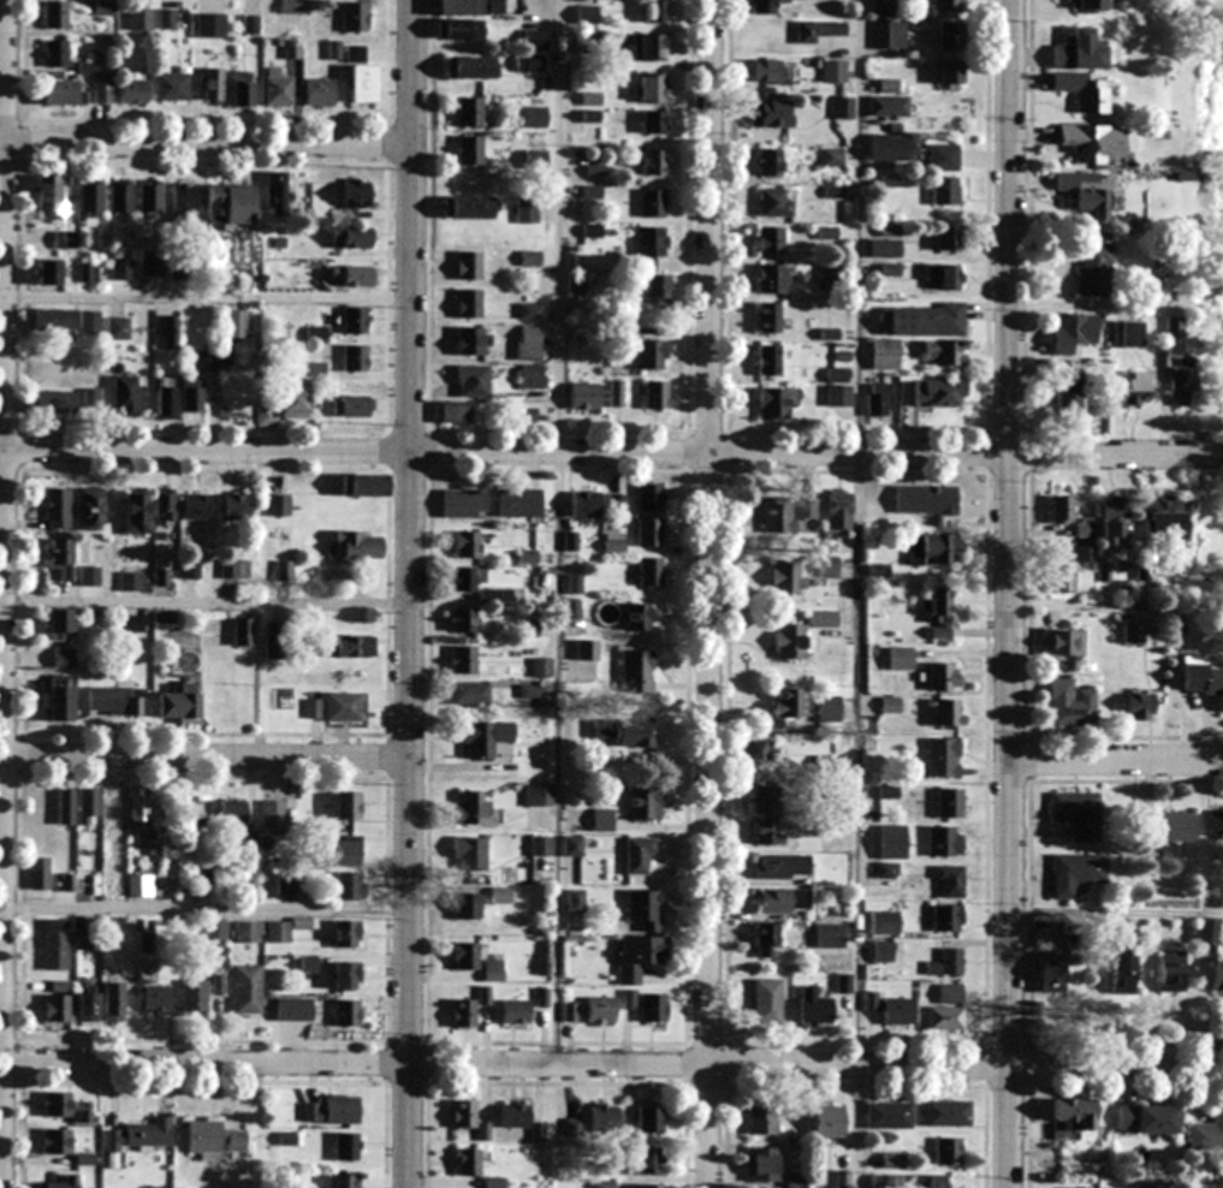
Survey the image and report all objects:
building: (951, 5)
building: (292, 6)
building: (764, 6)
building: (1091, 6)
building: (103, 7)
building: (469, 7)
building: (654, 11)
building: (55, 16)
building: (355, 17)
building: (167, 18)
building: (141, 19)
building: (210, 25)
building: (458, 29)
building: (821, 30)
building: (890, 35)
building: (948, 35)
building: (534, 38)
building: (649, 46)
building: (1080, 51)
building: (55, 55)
building: (529, 64)
building: (470, 67)
building: (87, 69)
building: (772, 71)
building: (835, 71)
building: (950, 72)
building: (363, 83)
building: (212, 84)
building: (172, 87)
building: (241, 88)
building: (277, 88)
building: (652, 88)
building: (133, 89)
building: (1086, 90)
building: (320, 91)
building: (102, 93)
building: (60, 94)
building: (889, 107)
building: (843, 108)
building: (469, 112)
building: (770, 113)
building: (535, 117)
building: (654, 121)
building: (1090, 141)
road: (204, 142)
building: (890, 149)
building: (469, 150)
building: (944, 156)
building: (653, 162)
building: (768, 162)
building: (945, 190)
building: (355, 192)
building: (1088, 192)
building: (277, 194)
building: (53, 195)
building: (119, 195)
building: (149, 195)
building: (89, 198)
building: (774, 202)
building: (183, 203)
building: (652, 203)
building: (230, 204)
building: (468, 207)
building: (527, 212)
building: (351, 238)
building: (949, 238)
building: (64, 239)
building: (771, 240)
building: (649, 243)
building: (884, 249)
building: (153, 265)
building: (469, 265)
building: (1094, 267)
building: (121, 269)
building: (48, 272)
building: (89, 272)
building: (352, 275)
building: (943, 277)
building: (770, 278)
building: (649, 287)
road: (204, 295)
road: (1105, 299)
building: (469, 302)
building: (768, 317)
building: (54, 319)
building: (355, 320)
building: (925, 320)
building: (89, 321)
building: (236, 323)
building: (1172, 327)
building: (119, 329)
building: (171, 332)
building: (1073, 332)
building: (1128, 334)
building: (471, 340)
building: (529, 343)
building: (885, 354)
building: (944, 354)
building: (652, 355)
building: (355, 358)
building: (206, 361)
building: (768, 361)
building: (838, 374)
building: (532, 376)
building: (473, 380)
building: (1180, 381)
building: (1138, 386)
building: (617, 393)
building: (936, 393)
building: (191, 394)
building: (657, 394)
building: (124, 396)
building: (584, 396)
building: (839, 397)
building: (165, 398)
building: (293, 399)
building: (90, 400)
building: (878, 400)
building: (54, 402)
building: (1067, 403)
building: (772, 404)
building: (352, 406)
building: (453, 411)
building: (266, 415)
road: (611, 451)
building: (364, 483)
building: (649, 497)
building: (926, 499)
building: (464, 503)
building: (517, 503)
building: (164, 504)
building: (586, 504)
building: (279, 505)
building: (197, 506)
building: (236, 506)
building: (808, 507)
building: (57, 509)
building: (91, 509)
building: (1061, 509)
building: (838, 510)
building: (136, 513)
building: (779, 516)
building: (1164, 518)
building: (1115, 521)
building: (1086, 527)
road: (1, 529)
building: (649, 531)
building: (615, 542)
building: (467, 543)
building: (357, 545)
building: (931, 550)
building: (1085, 552)
building: (60, 560)
building: (827, 565)
building: (230, 569)
building: (191, 570)
building: (651, 571)
building: (97, 576)
building: (465, 578)
building: (789, 578)
building: (1061, 578)
building: (130, 581)
road: (406, 593)
road: (706, 593)
road: (557, 594)
road: (861, 594)
road: (1007, 594)
road: (203, 604)
building: (939, 604)
building: (572, 610)
building: (639, 617)
building: (462, 619)
building: (60, 624)
building: (136, 624)
building: (243, 631)
building: (1133, 632)
building: (800, 636)
building: (1062, 643)
building: (351, 646)
building: (275, 647)
building: (587, 649)
building: (64, 658)
building: (463, 659)
building: (541, 667)
building: (637, 671)
building: (943, 676)
building: (1211, 684)
building: (469, 693)
building: (115, 701)
building: (59, 703)
building: (179, 703)
building: (788, 703)
building: (1069, 705)
building: (1139, 705)
building: (344, 706)
building: (829, 708)
building: (948, 712)
building: (633, 733)
building: (485, 737)
building: (754, 749)
road: (203, 755)
building: (943, 758)
road: (1115, 758)
building: (538, 796)
building: (767, 798)
building: (643, 803)
building: (949, 803)
building: (348, 804)
building: (66, 807)
building: (88, 807)
building: (471, 807)
building: (137, 808)
building: (232, 810)
building: (196, 812)
building: (113, 813)
building: (274, 814)
building: (1076, 814)
building: (604, 820)
building: (1215, 824)
building: (1169, 826)
building: (768, 832)
building: (887, 833)
building: (934, 840)
building: (541, 845)
building: (572, 845)
building: (343, 850)
building: (470, 853)
building: (640, 855)
building: (783, 867)
building: (40, 873)
building: (1076, 873)
building: (204, 875)
building: (109, 880)
building: (950, 880)
building: (147, 884)
building: (289, 884)
building: (350, 885)
building: (574, 901)
building: (783, 901)
building: (467, 905)
building: (645, 909)
road: (1115, 911)
road: (203, 913)
building: (946, 917)
building: (884, 922)
building: (215, 929)
building: (249, 932)
building: (279, 932)
building: (346, 934)
building: (829, 934)
building: (766, 939)
building: (55, 945)
building: (880, 950)
building: (465, 956)
building: (639, 956)
building: (945, 963)
building: (493, 970)
building: (1172, 970)
building: (1050, 972)
building: (1121, 973)
building: (1217, 974)
building: (346, 975)
building: (249, 988)
building: (201, 992)
building: (113, 1000)
building: (158, 1000)
building: (767, 1002)
building: (59, 1003)
building: (87, 1004)
building: (814, 1006)
building: (653, 1008)
building: (892, 1008)
building: (295, 1009)
building: (600, 1009)
building: (946, 1010)
building: (515, 1011)
building: (346, 1012)
building: (463, 1014)
road: (611, 1063)
building: (66, 1107)
building: (331, 1110)
building: (465, 1113)
building: (948, 1113)
building: (889, 1115)
building: (515, 1116)
building: (604, 1117)
building: (1070, 1117)
building: (1147, 1118)
building: (651, 1121)
building: (827, 1121)
building: (762, 1122)
building: (572, 1125)
building: (1206, 1133)
building: (138, 1137)
building: (214, 1139)
building: (55, 1141)
building: (348, 1146)
building: (948, 1151)
building: (648, 1158)
building: (467, 1162)
building: (762, 1164)
building: (345, 1181)
building: (922, 1181)
building: (58, 1182)
building: (1153, 1183)
building: (651, 1186)

